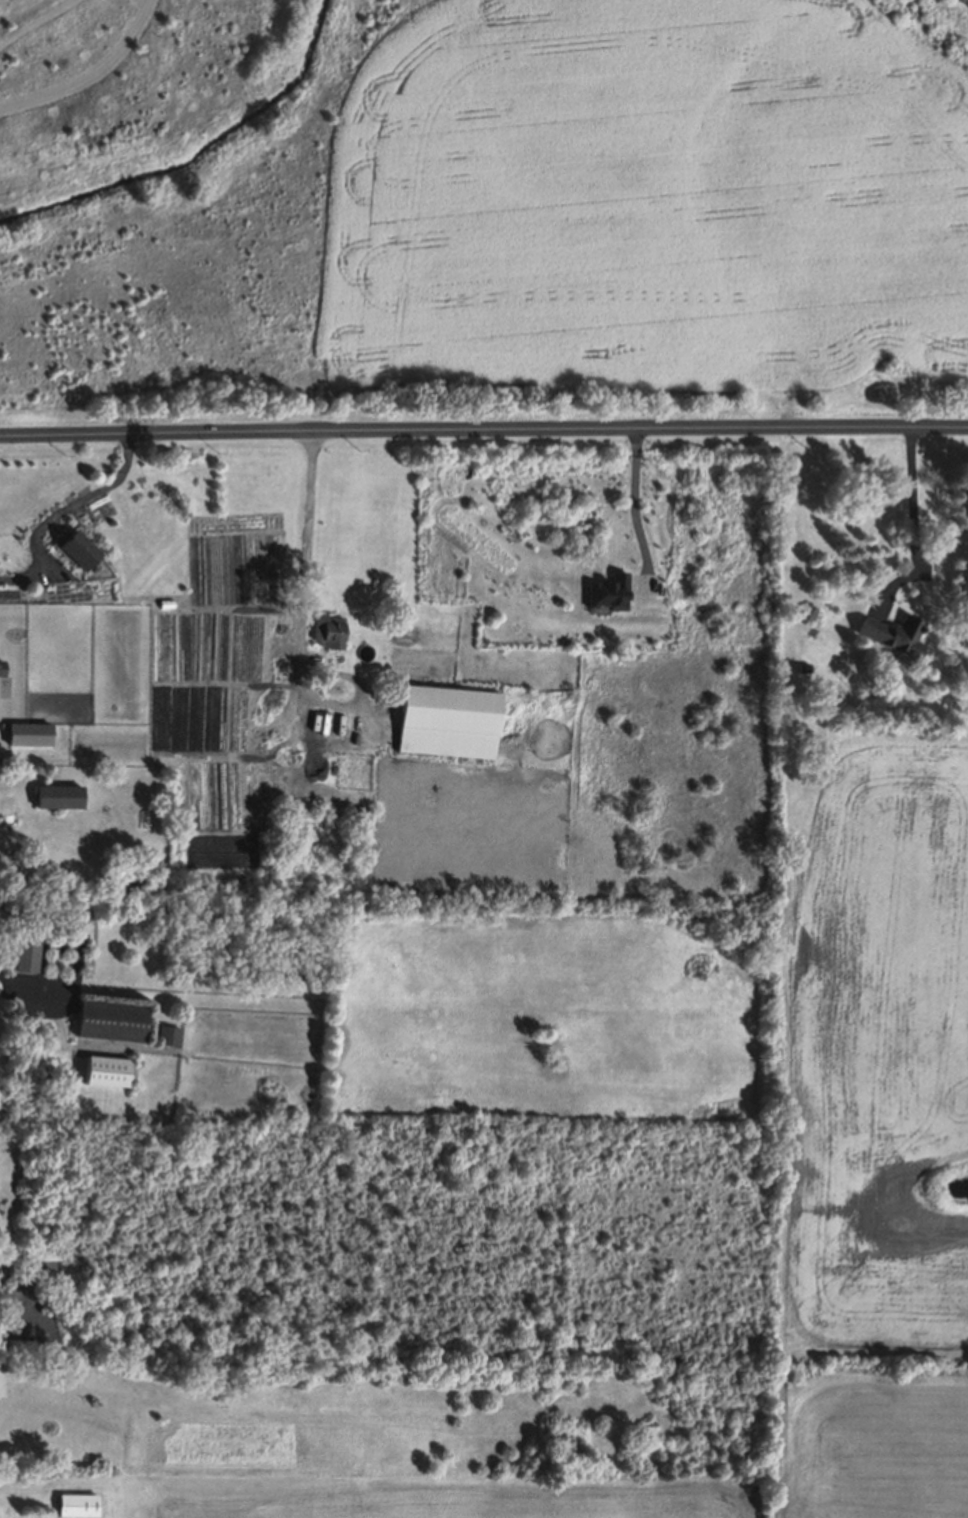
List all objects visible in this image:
road: (84, 67)
road: (449, 68)
road: (483, 430)
road: (635, 504)
road: (62, 510)
road: (914, 525)
building: (80, 550)
building: (608, 592)
road: (301, 612)
building: (330, 631)
building: (894, 635)
building: (2, 669)
building: (448, 722)
building: (30, 736)
building: (59, 798)
building: (29, 955)
road: (25, 983)
building: (113, 1021)
building: (170, 1037)
building: (108, 1072)
building: (78, 1506)

